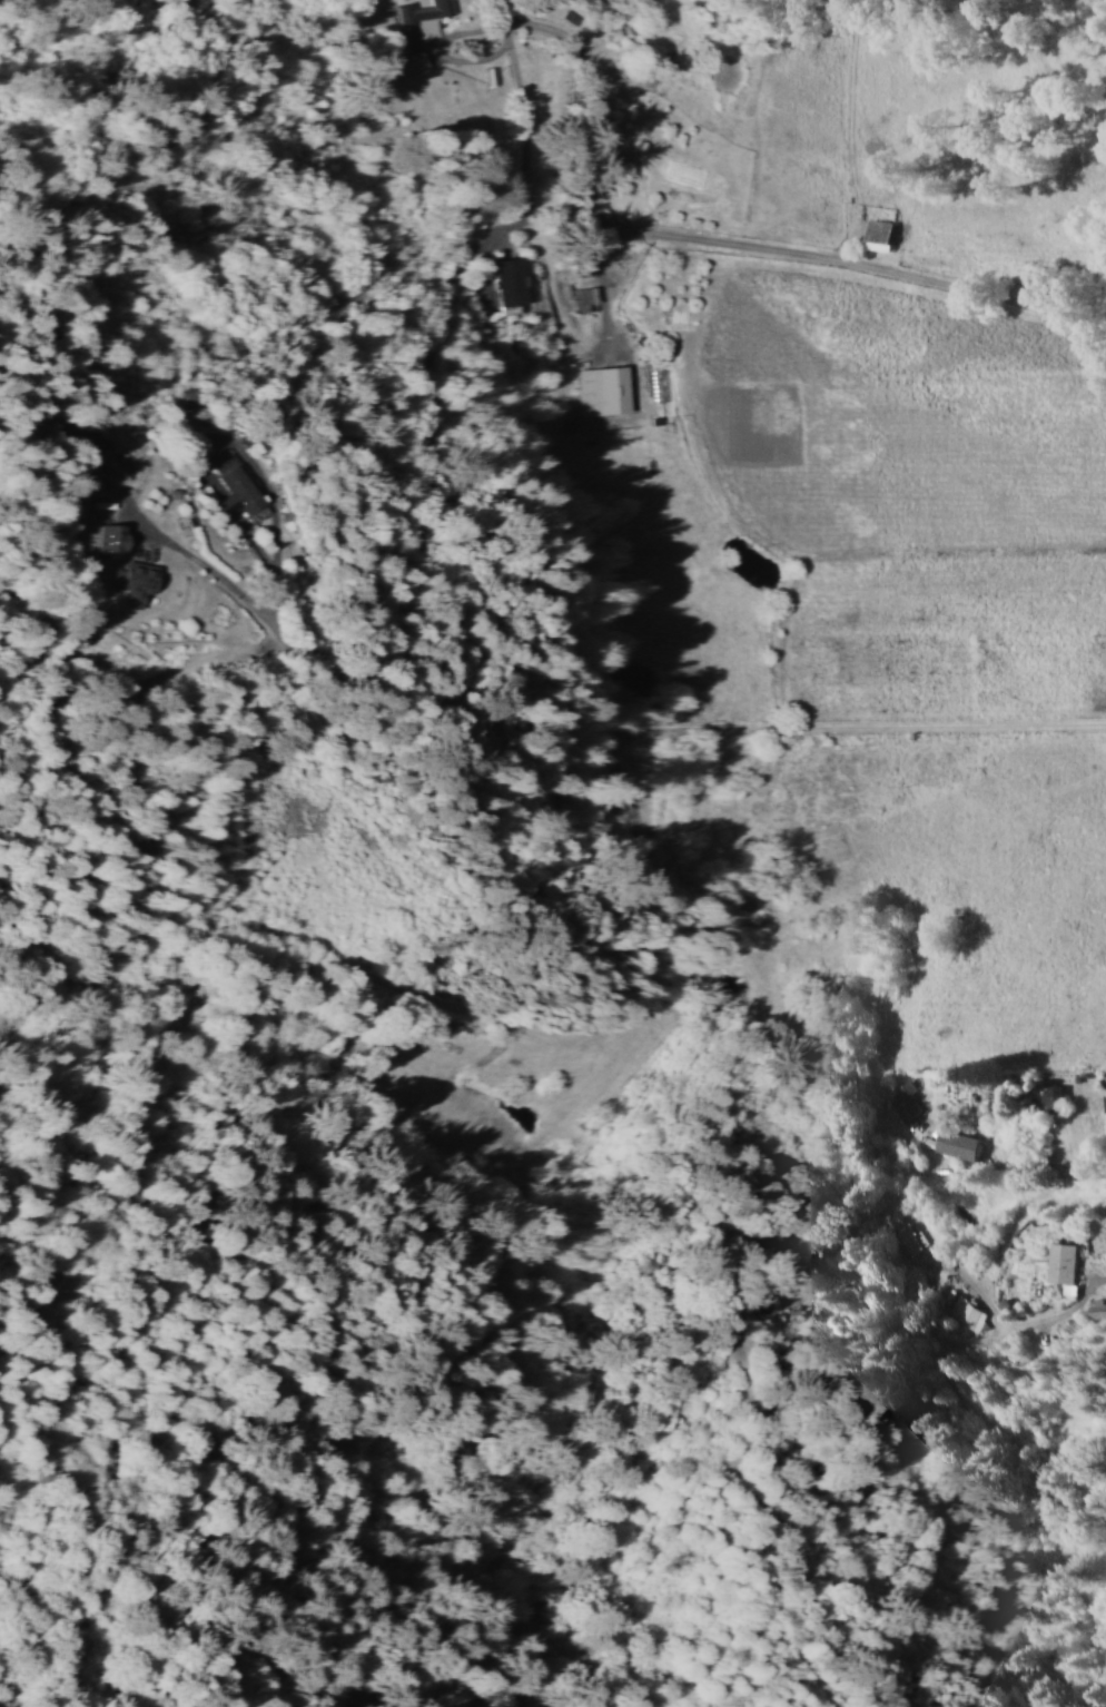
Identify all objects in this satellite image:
building: (425, 17)
road: (524, 122)
building: (878, 231)
road: (737, 245)
building: (508, 279)
building: (604, 389)
building: (231, 491)
building: (107, 537)
building: (137, 580)
building: (1105, 740)
building: (1053, 1096)
building: (1105, 1101)
building: (955, 1144)
building: (906, 1239)
building: (1061, 1262)
building: (961, 1308)
building: (1097, 1308)

